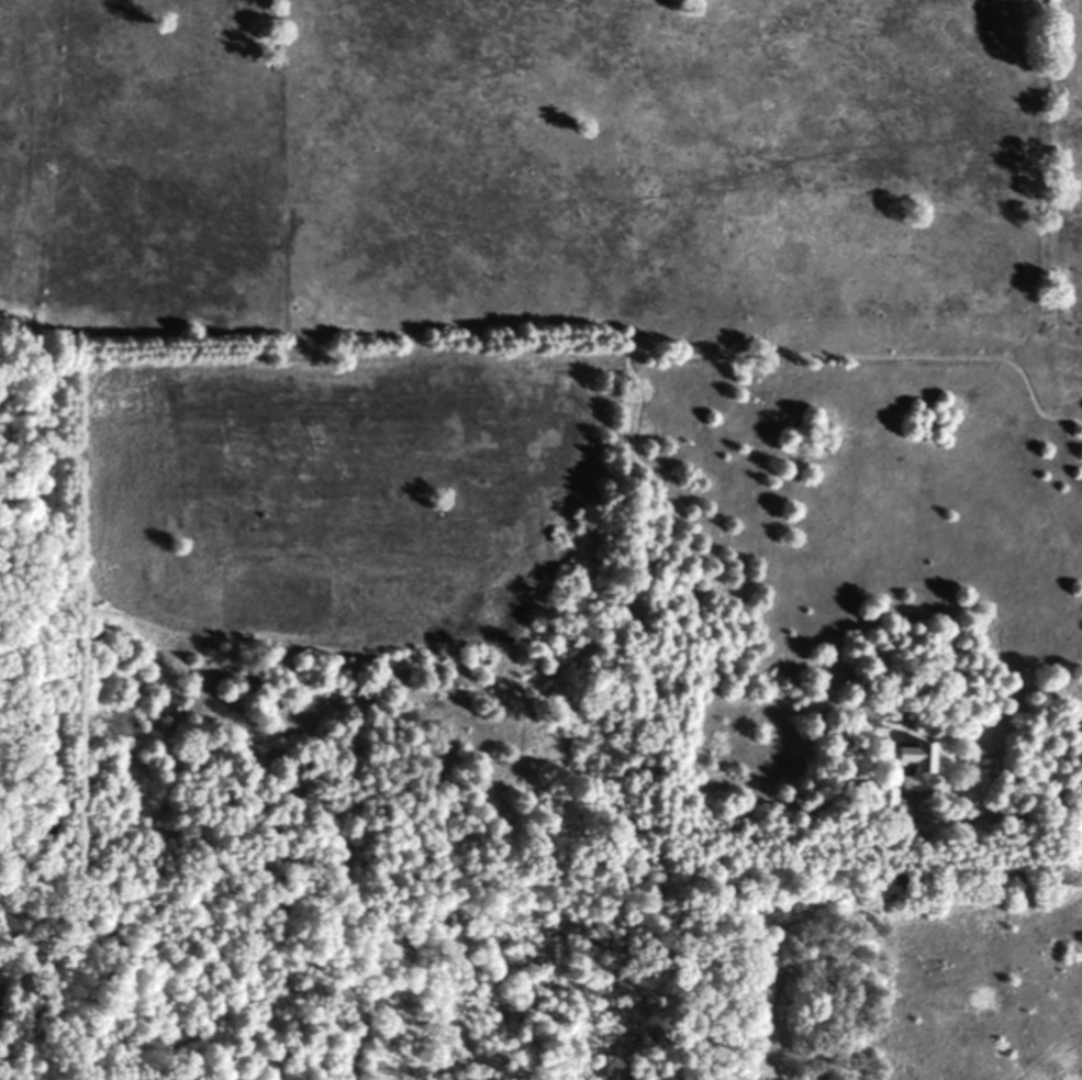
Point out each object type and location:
building: (906, 757)
building: (884, 801)
road: (1011, 817)

